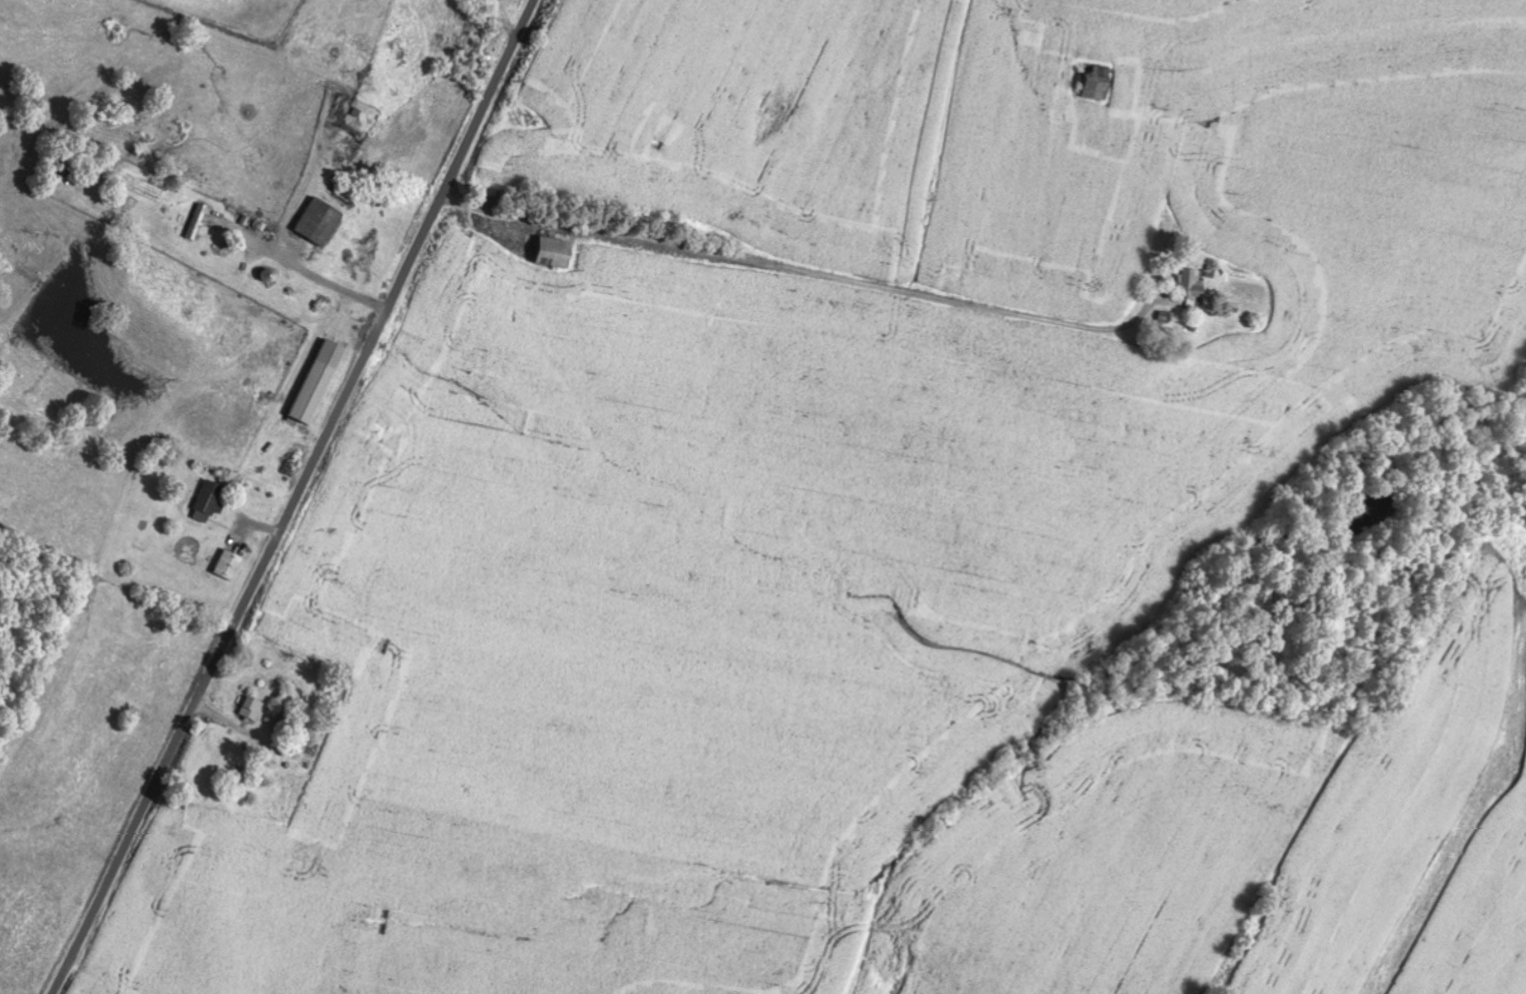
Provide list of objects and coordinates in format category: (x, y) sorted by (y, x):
building: (1099, 83)
road: (934, 140)
building: (320, 222)
building: (555, 253)
building: (1193, 284)
building: (319, 383)
road: (297, 498)
building: (210, 503)
building: (230, 566)
building: (253, 709)

